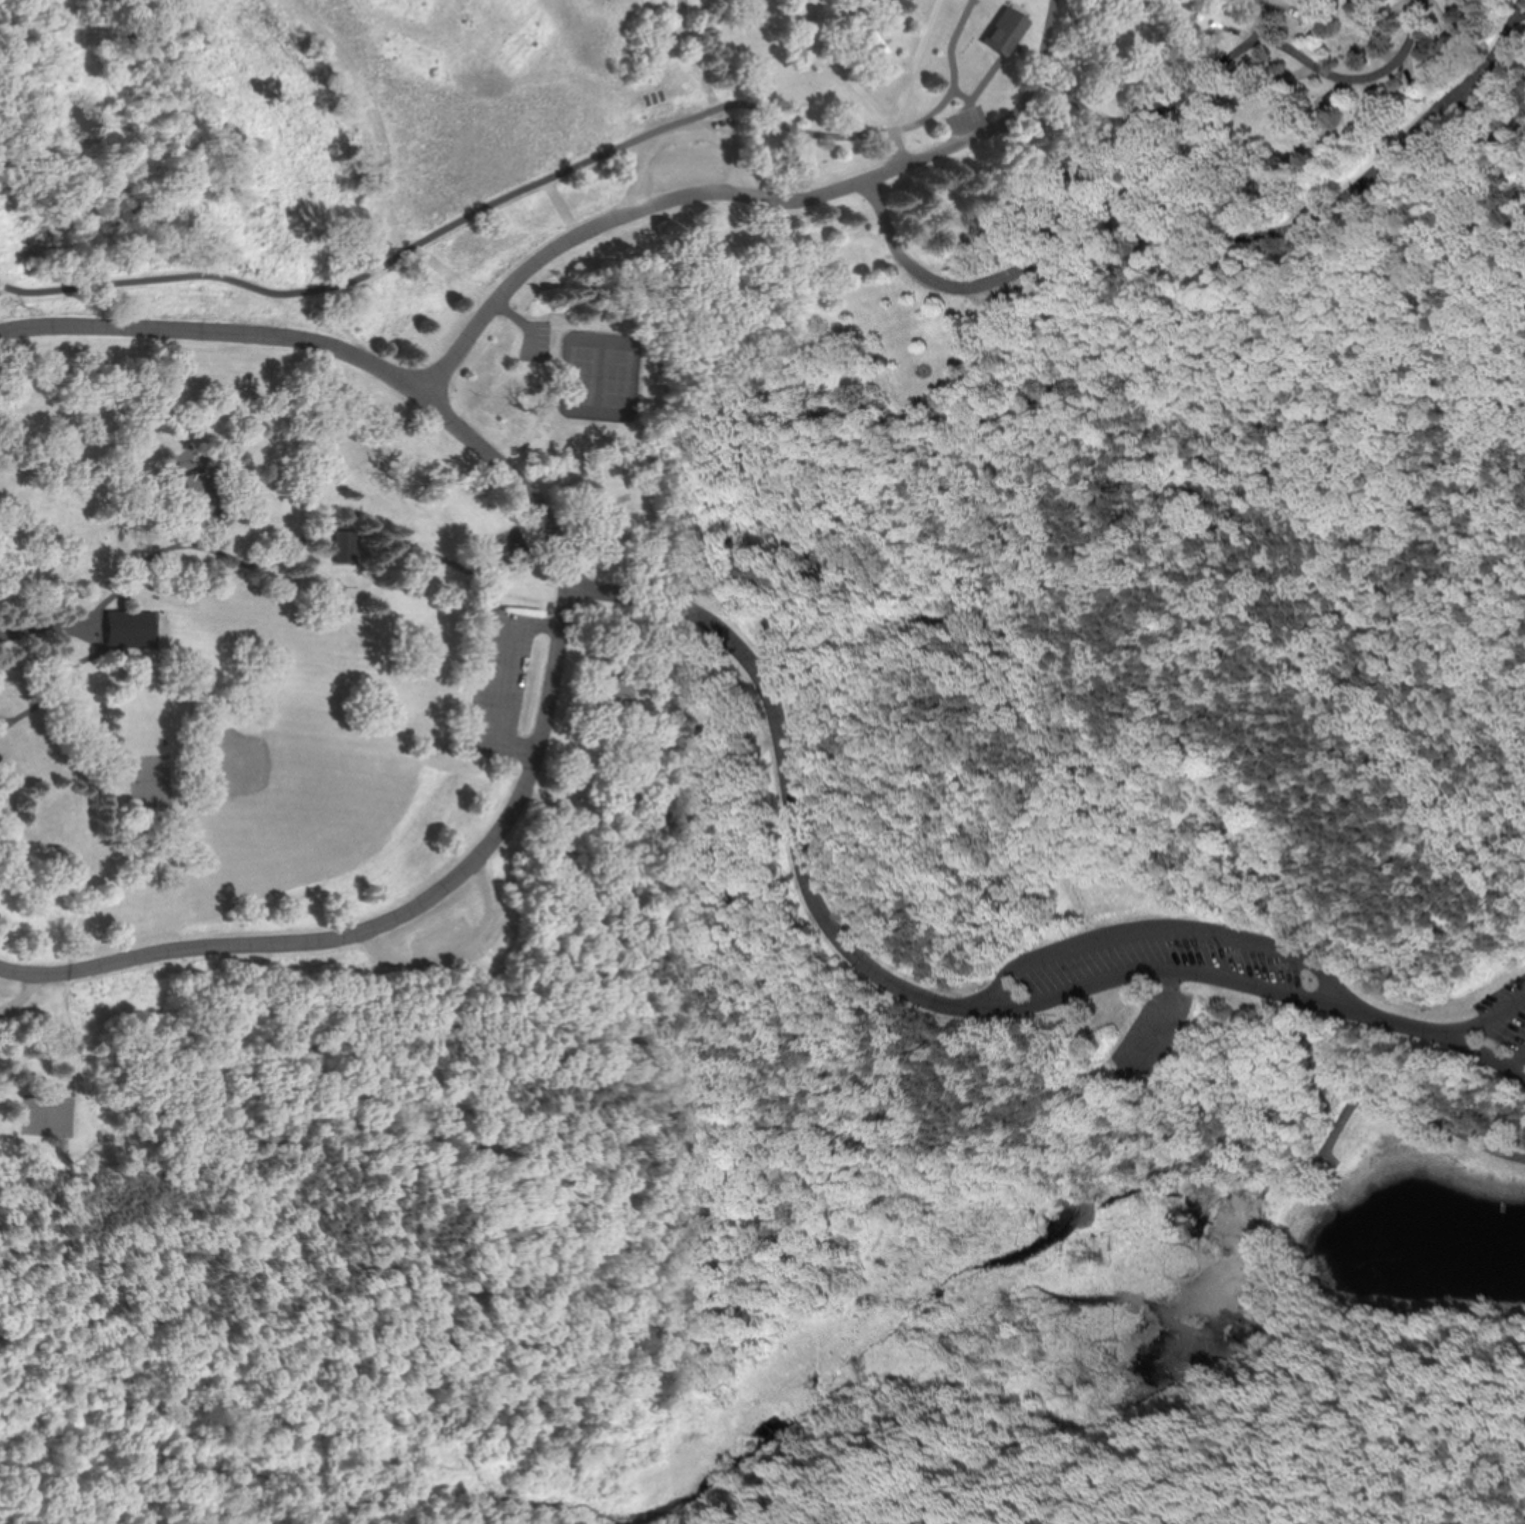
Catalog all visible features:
road: (1514, 9)
road: (1518, 14)
road: (1262, 19)
building: (1007, 33)
road: (1179, 93)
road: (888, 115)
road: (693, 137)
road: (903, 143)
road: (687, 196)
road: (1198, 235)
road: (339, 347)
building: (346, 547)
building: (128, 629)
road: (39, 637)
road: (505, 679)
parking lot: (504, 686)
park: (762, 762)
road: (783, 772)
building: (669, 807)
road: (393, 918)
road: (1155, 932)
road: (462, 956)
road: (1151, 972)
road: (28, 993)
road: (1158, 1013)
road: (1436, 1031)

